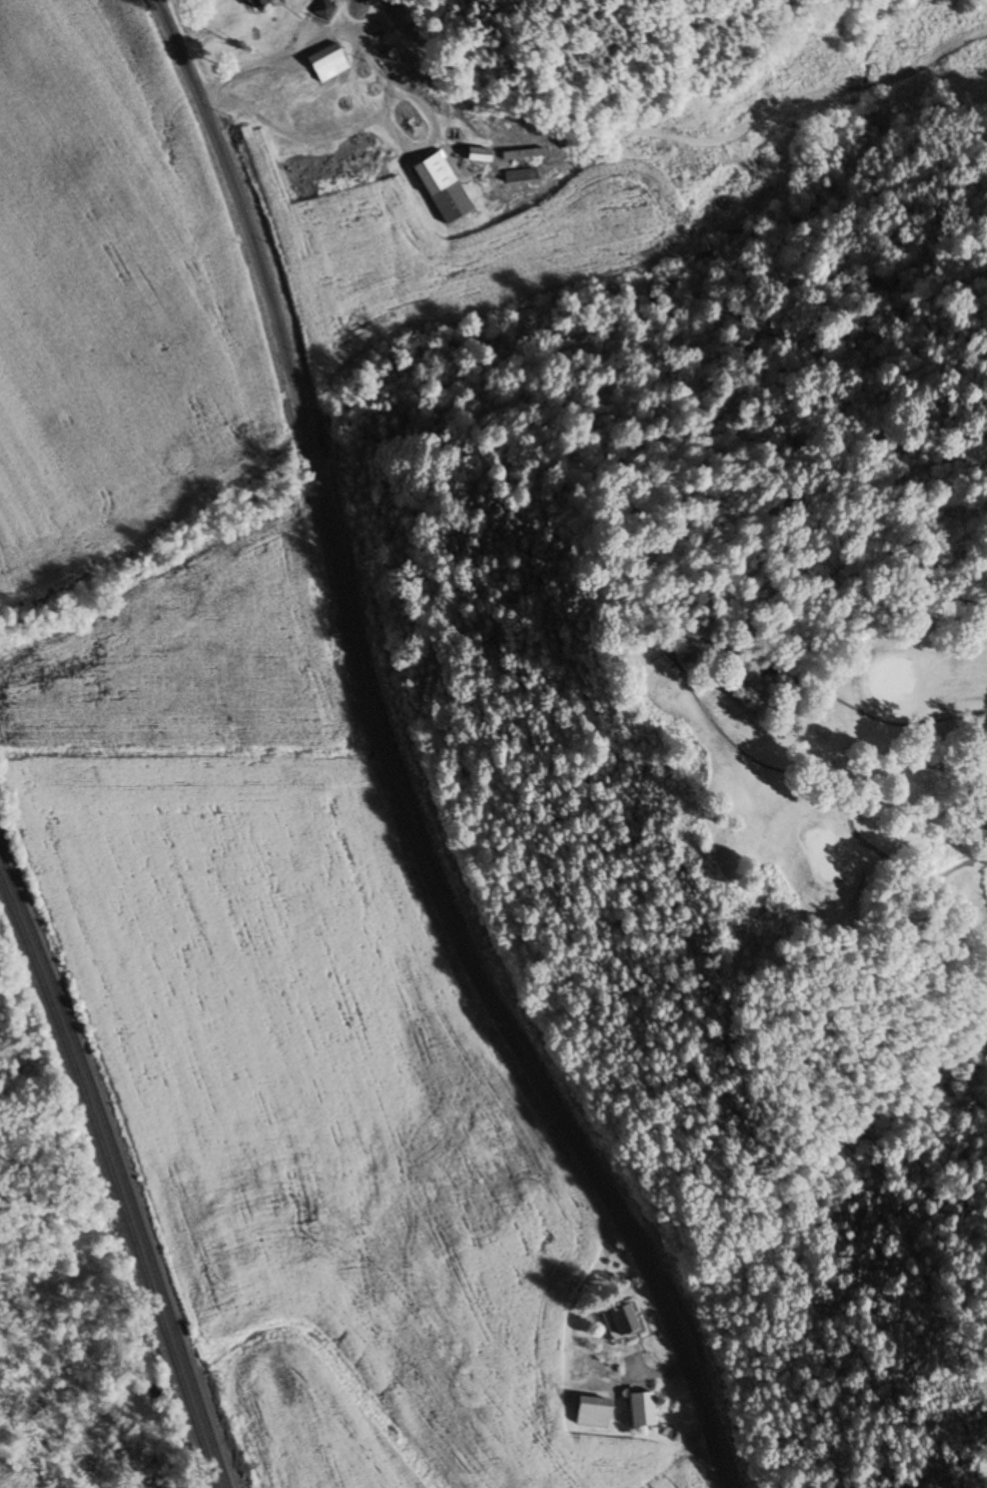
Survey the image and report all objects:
road: (247, 215)
road: (312, 456)
road: (676, 690)
crop: (250, 837)
road: (489, 993)
park: (781, 1002)
railway: (120, 1169)
railway: (113, 1181)

